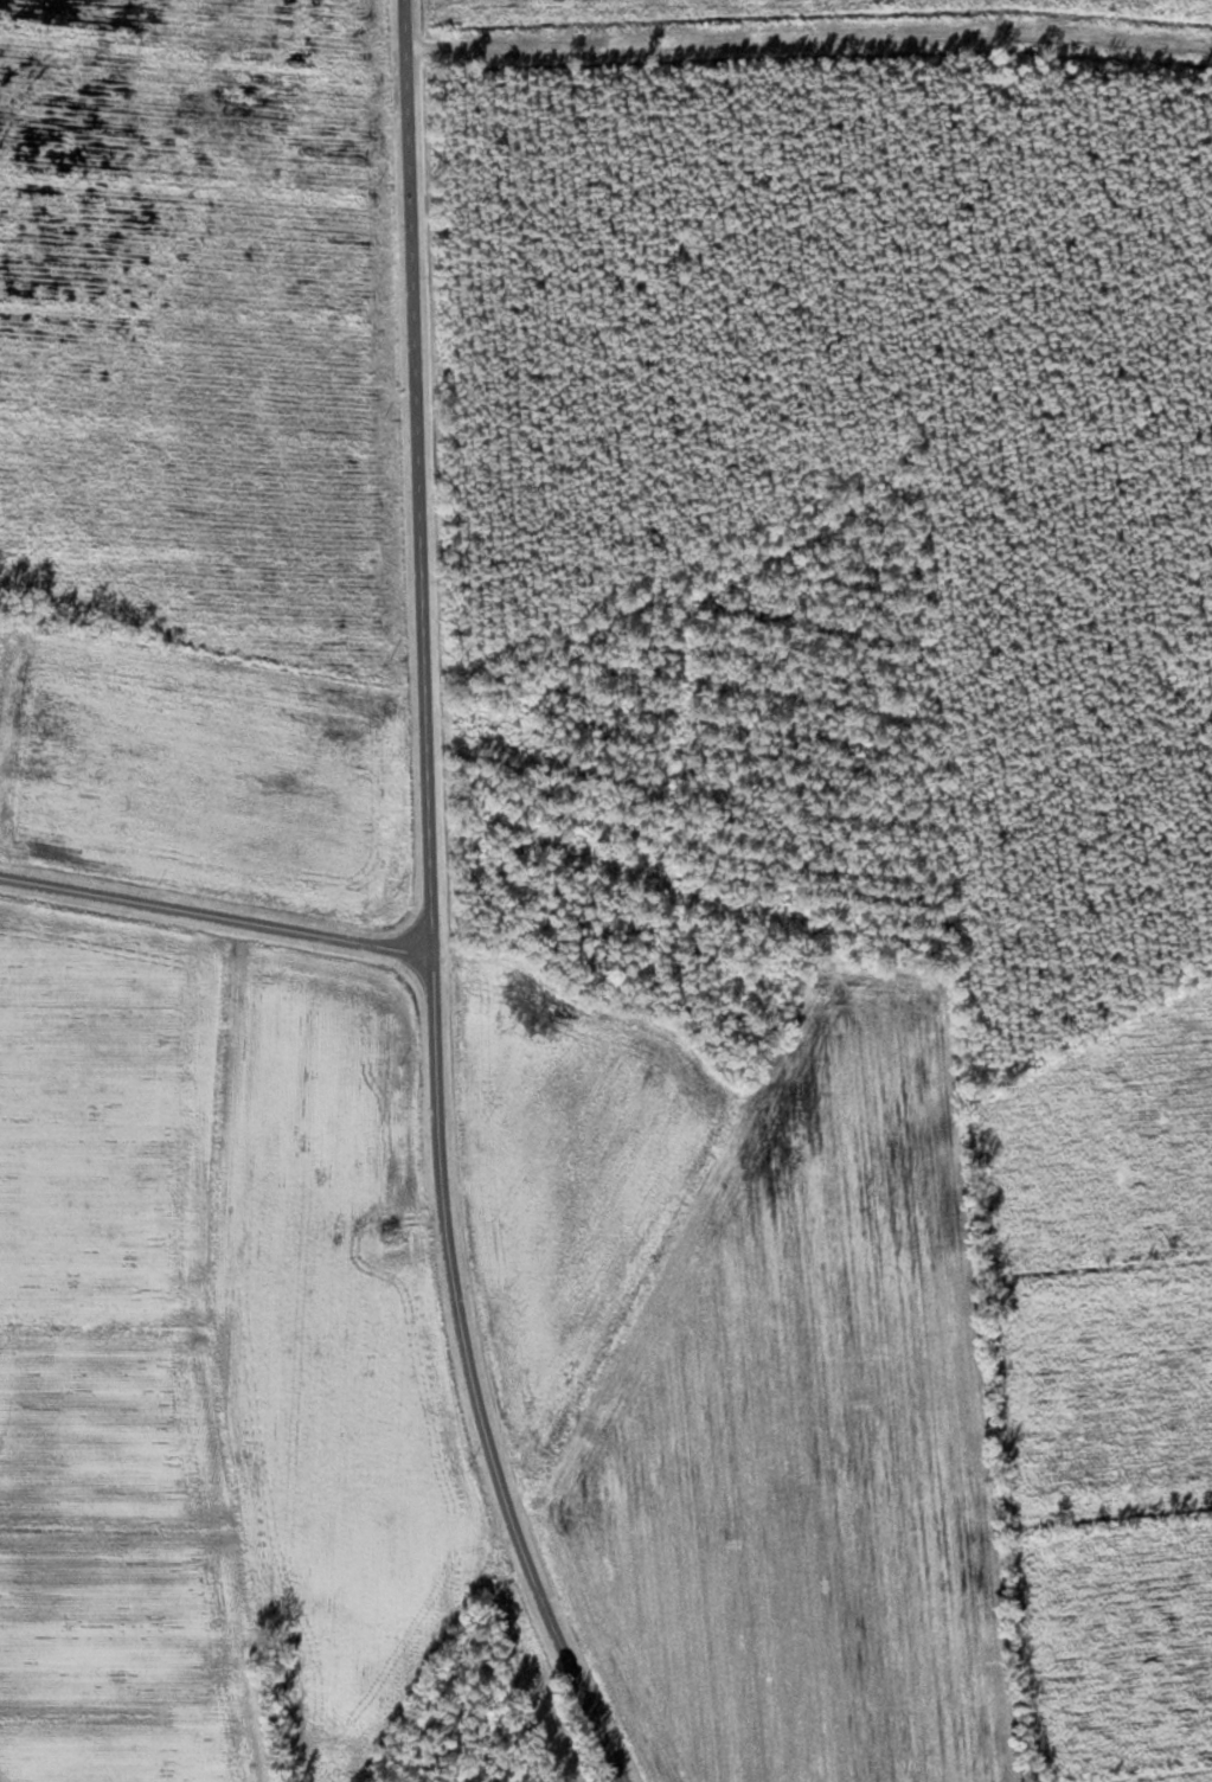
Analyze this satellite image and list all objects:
road: (432, 906)
road: (217, 914)

